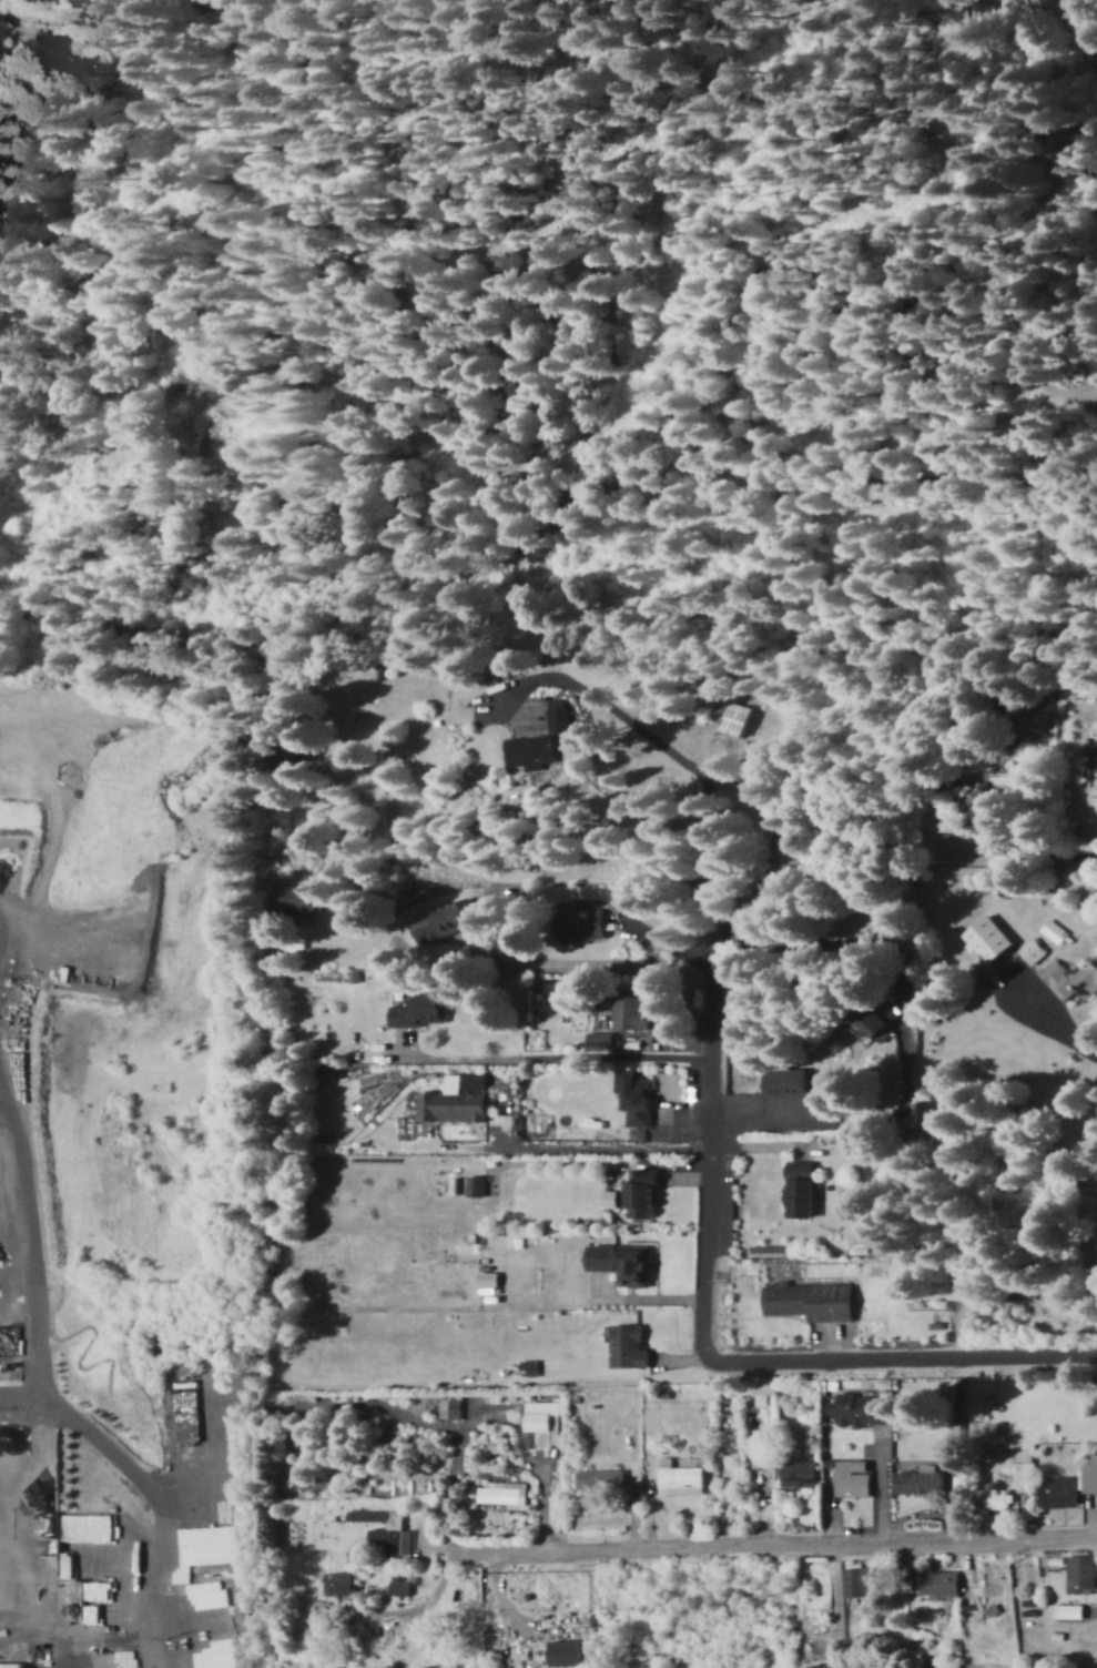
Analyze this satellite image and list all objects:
building: (732, 717)
building: (539, 738)
building: (1094, 754)
building: (983, 802)
building: (296, 897)
building: (438, 922)
building: (1054, 930)
building: (989, 938)
road: (685, 939)
building: (1033, 950)
building: (1073, 975)
building: (418, 1010)
building: (630, 1012)
building: (872, 1023)
building: (599, 1039)
building: (911, 1045)
building: (784, 1080)
building: (633, 1095)
building: (454, 1098)
road: (738, 1125)
building: (476, 1184)
building: (799, 1187)
building: (640, 1190)
building: (610, 1197)
building: (855, 1236)
building: (621, 1261)
building: (488, 1277)
building: (811, 1300)
building: (627, 1345)
building: (529, 1366)
building: (201, 1407)
building: (450, 1407)
building: (859, 1407)
building: (761, 1445)
building: (799, 1473)
building: (1088, 1475)
building: (680, 1477)
building: (852, 1477)
building: (600, 1478)
building: (918, 1479)
building: (1062, 1490)
building: (504, 1493)
building: (997, 1499)
building: (98, 1527)
building: (387, 1534)
road: (783, 1545)
building: (1080, 1571)
building: (857, 1580)
building: (338, 1581)
building: (939, 1583)
building: (399, 1586)
building: (71, 1589)
building: (108, 1593)
building: (1069, 1610)
building: (222, 1614)
building: (587, 1648)
building: (213, 1649)
building: (565, 1651)
building: (822, 1666)
building: (845, 1667)

